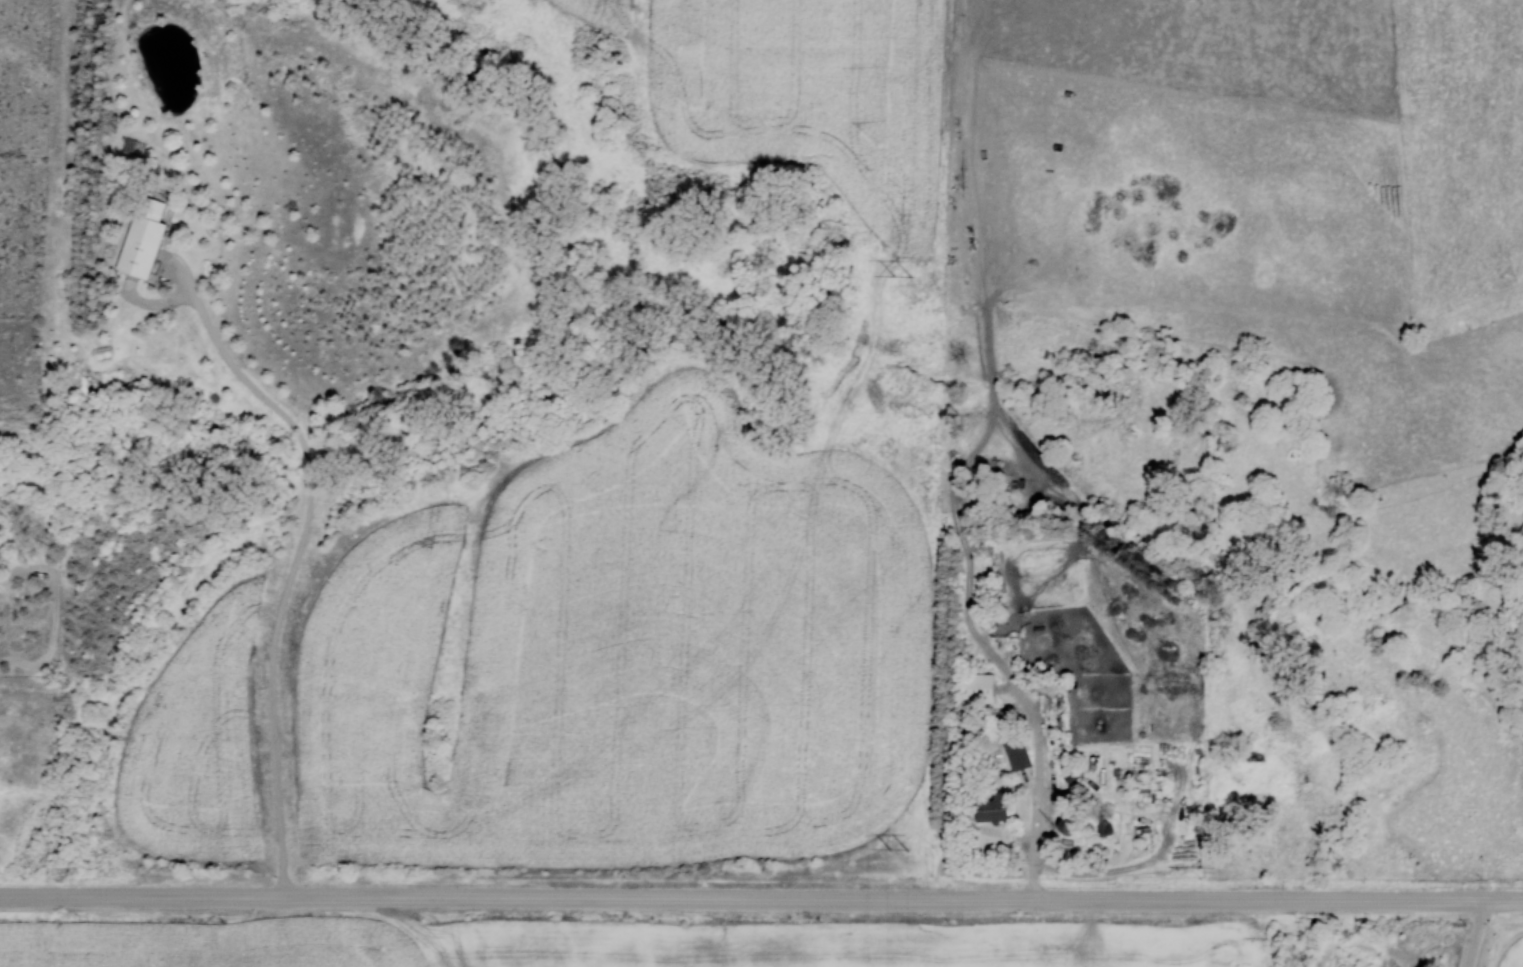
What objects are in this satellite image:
building: (148, 238)
power tower: (906, 283)
road: (289, 573)
building: (974, 689)
building: (1014, 754)
road: (1036, 782)
building: (988, 808)
building: (1061, 825)
power tower: (898, 846)
road: (759, 900)
road: (1478, 934)

